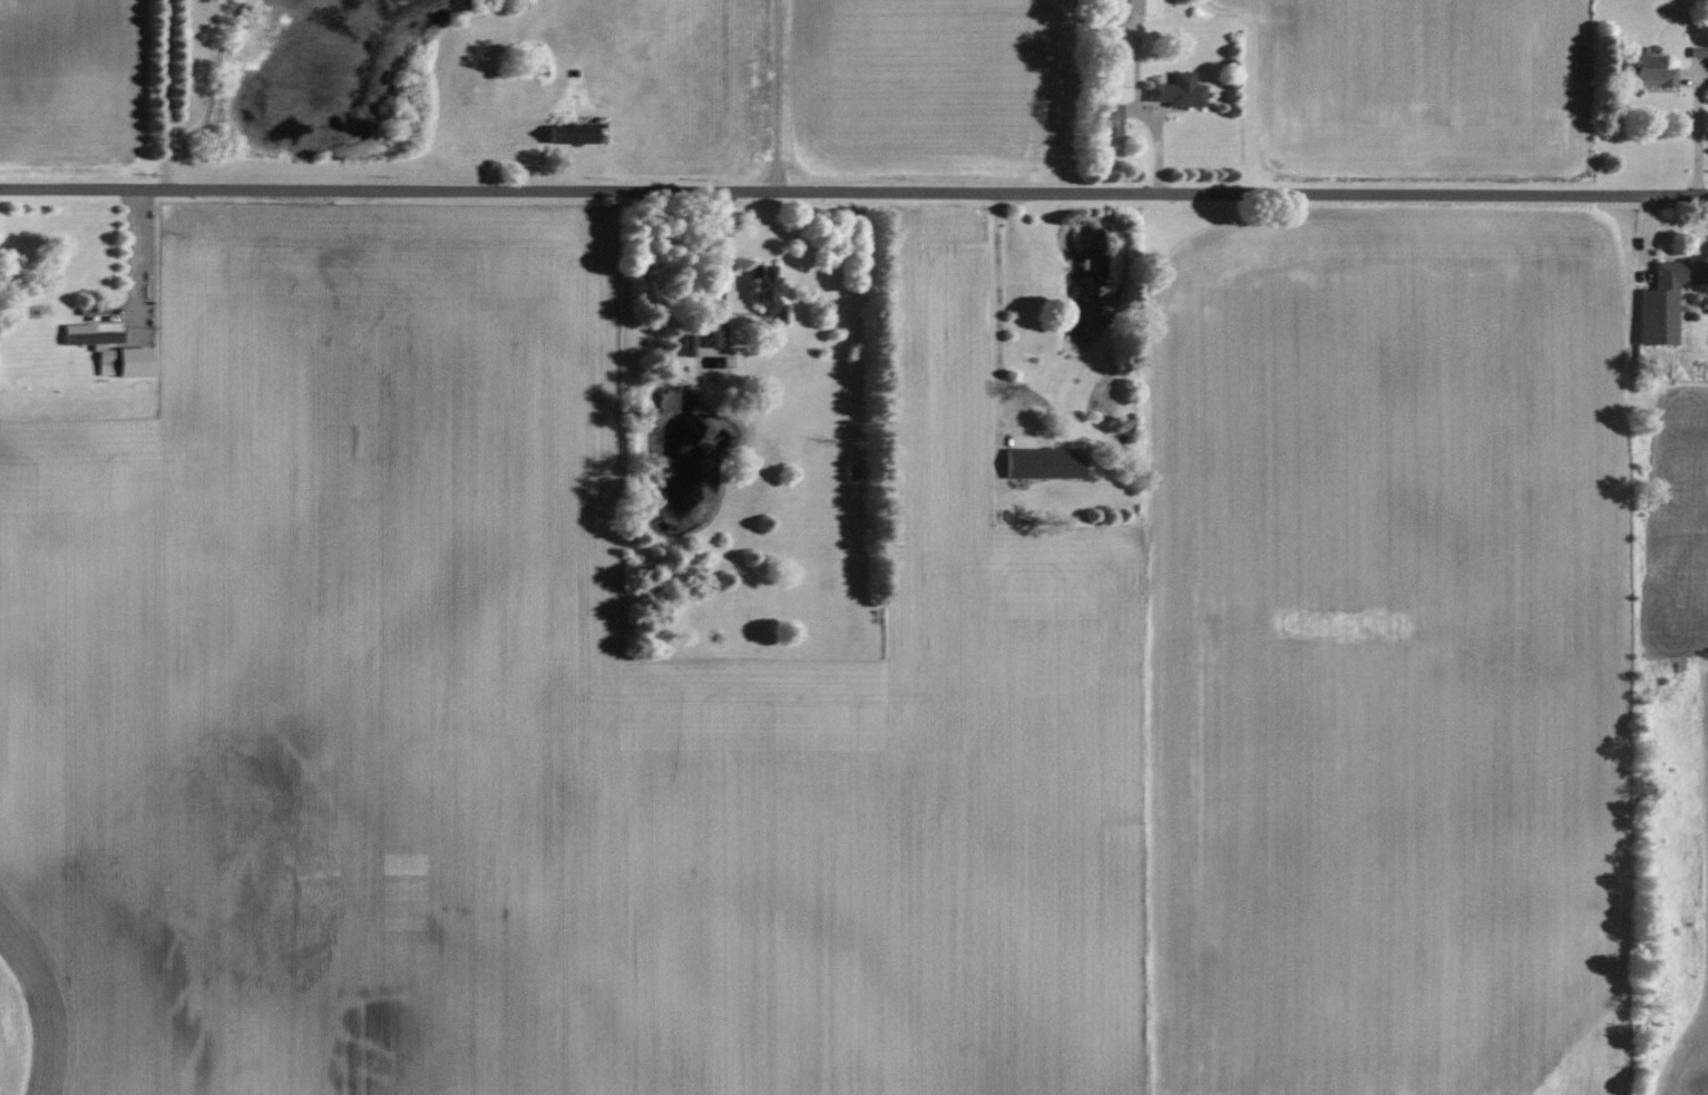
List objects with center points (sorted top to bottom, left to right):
building: (1140, 7)
building: (1706, 52)
building: (1648, 71)
building: (1177, 91)
road: (167, 95)
road: (775, 96)
road: (1141, 110)
building: (1109, 120)
building: (567, 135)
road: (853, 193)
road: (129, 256)
building: (763, 295)
building: (1663, 301)
road: (997, 311)
building: (703, 338)
building: (91, 343)
building: (130, 362)
building: (1042, 463)

